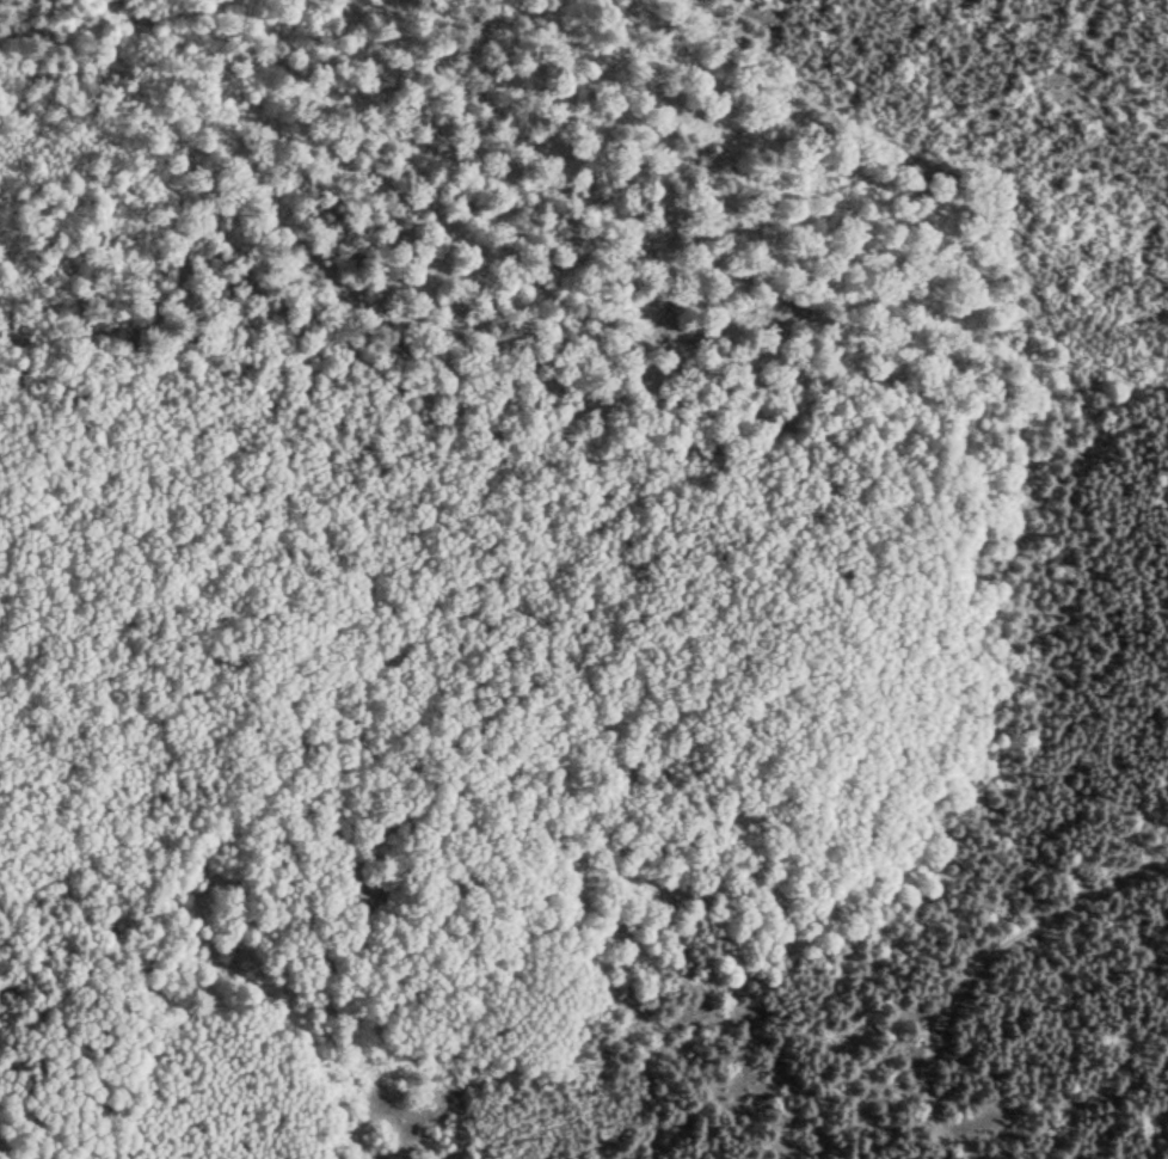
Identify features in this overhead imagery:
road: (979, 961)

